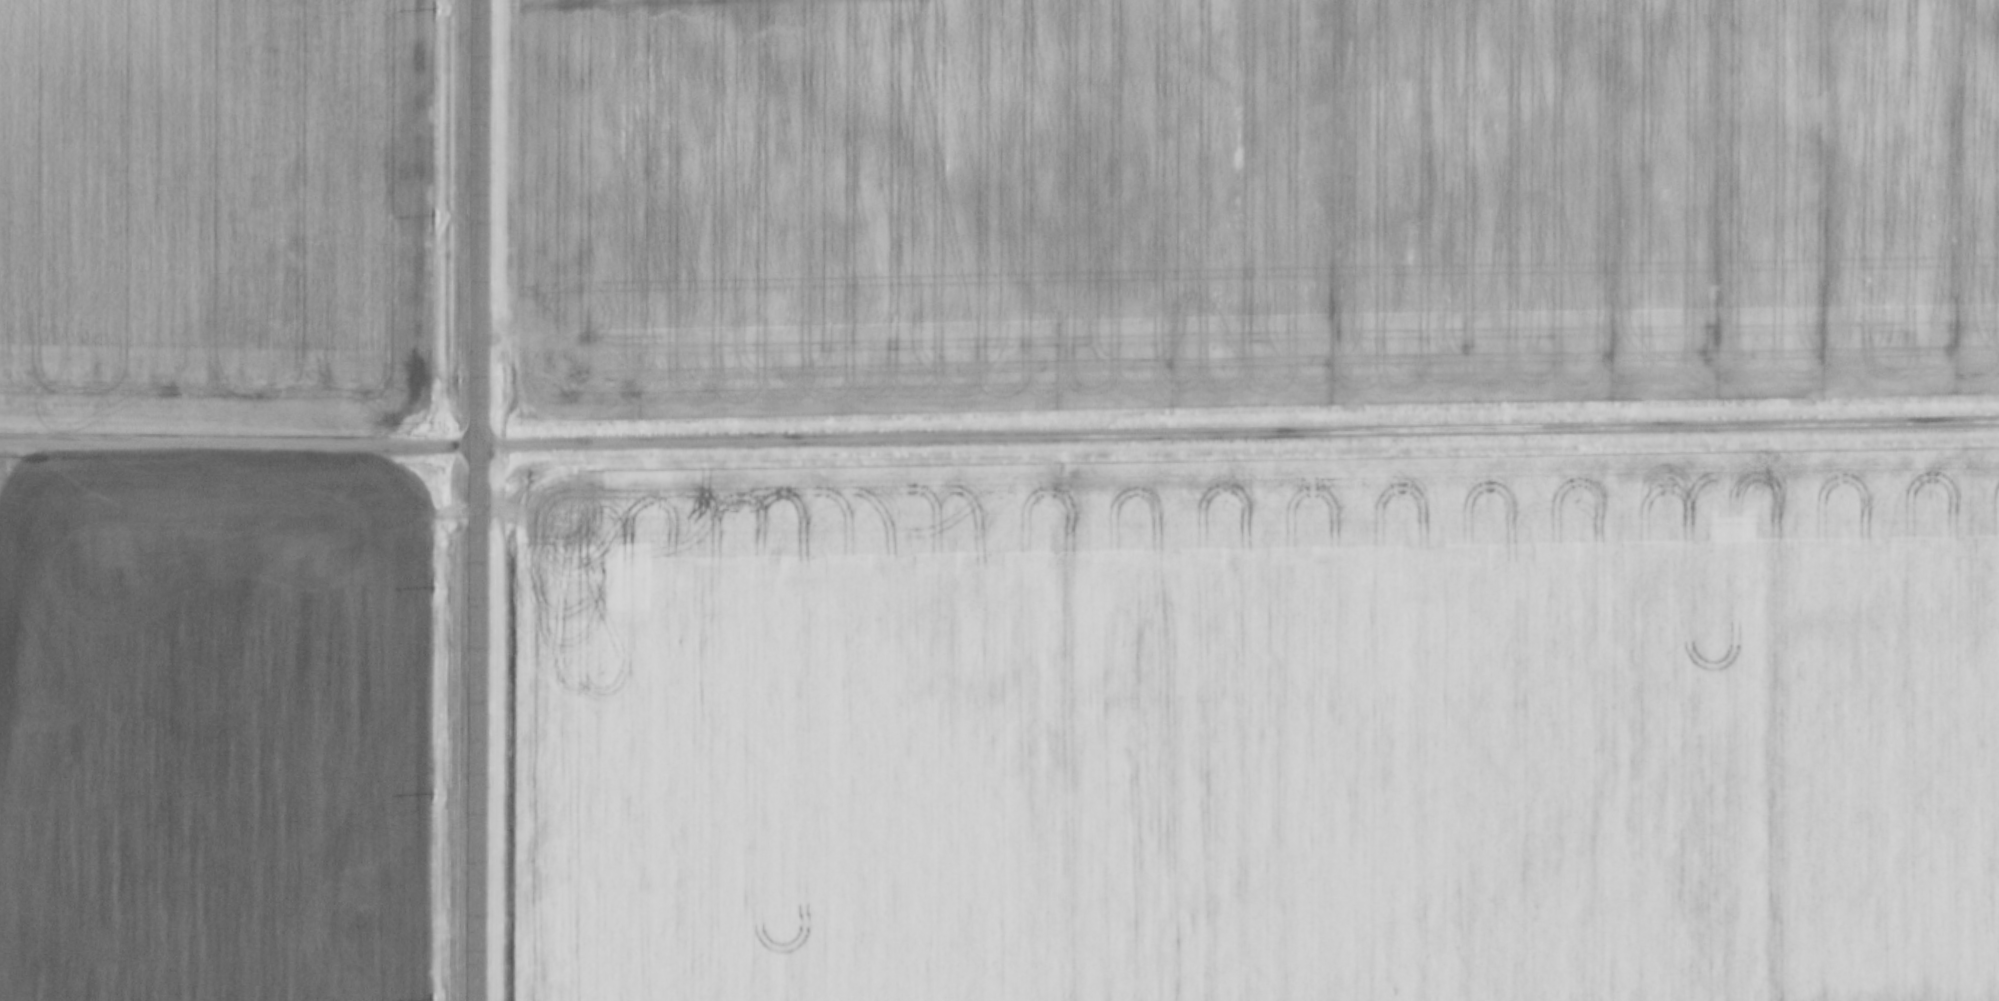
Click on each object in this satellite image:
road: (999, 442)
road: (483, 500)

